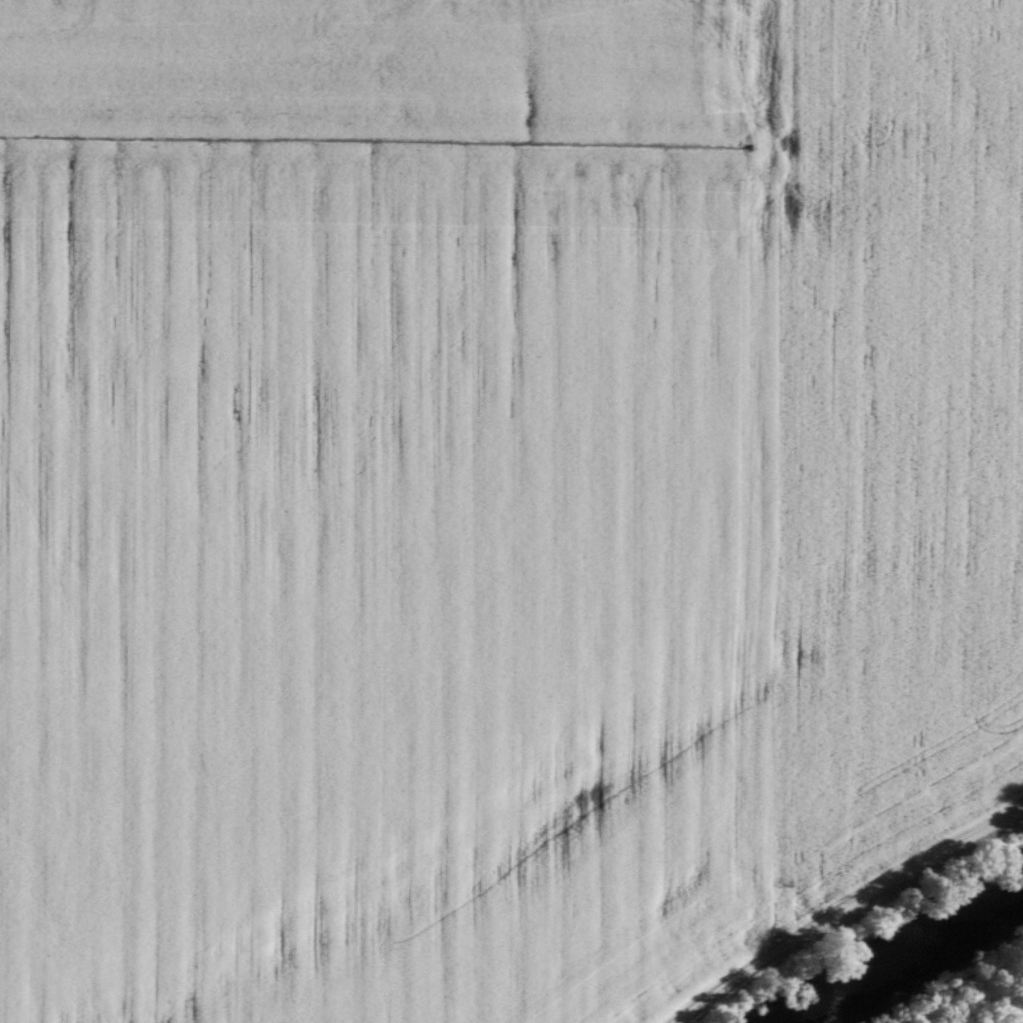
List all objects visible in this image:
road: (845, 905)
river: (896, 951)

